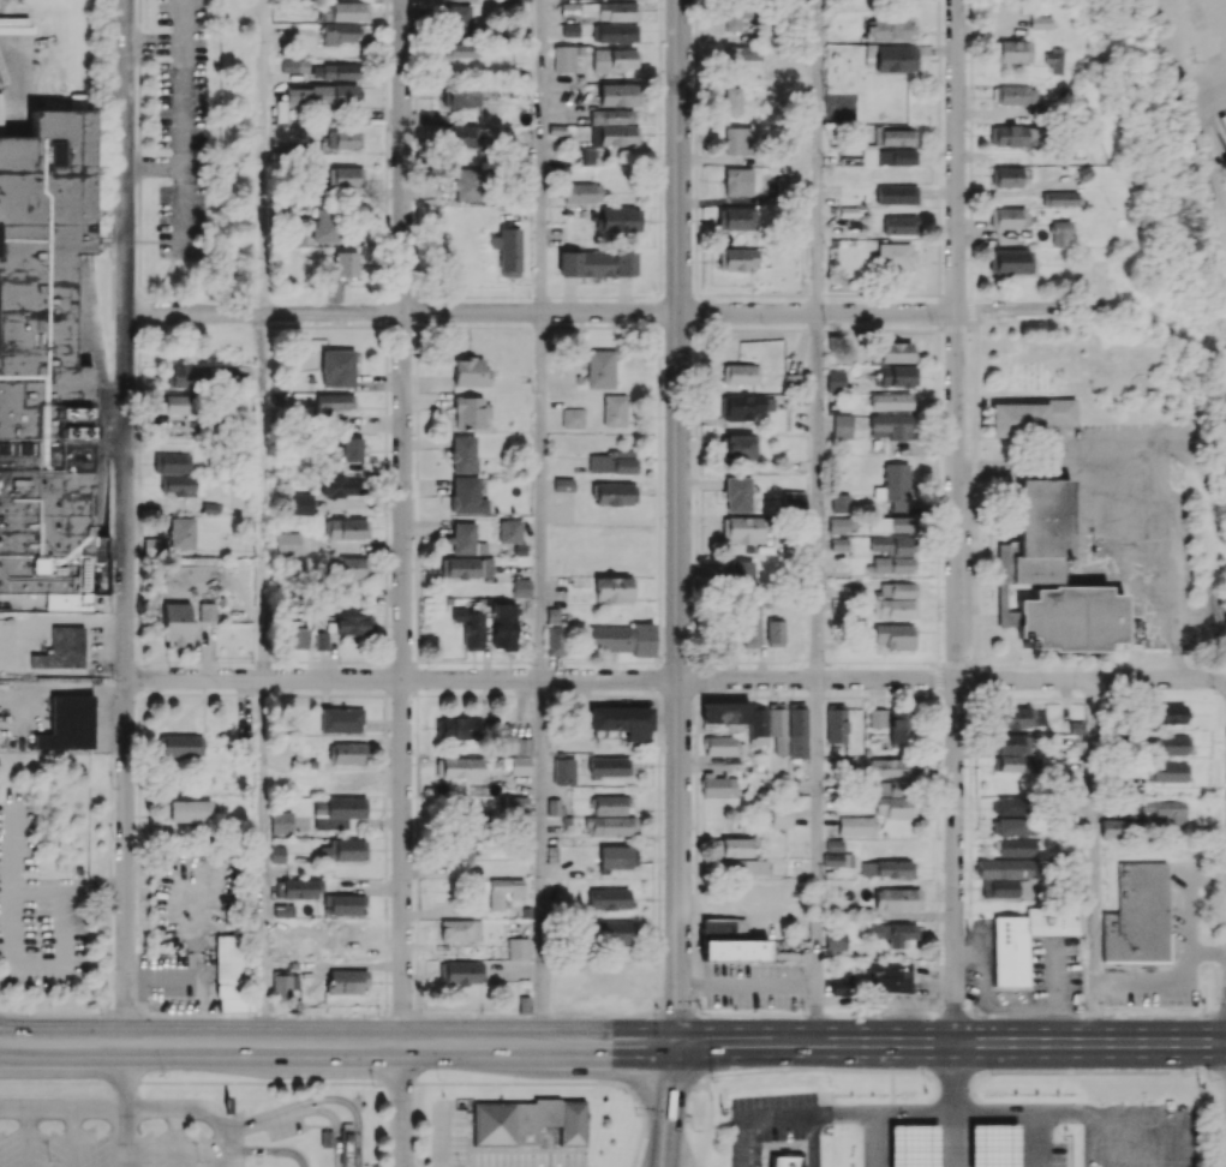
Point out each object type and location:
building: (519, 0)
building: (569, 8)
building: (616, 10)
building: (343, 11)
building: (735, 16)
building: (459, 19)
building: (1040, 22)
building: (886, 29)
building: (570, 30)
building: (341, 32)
building: (616, 32)
building: (464, 49)
building: (1015, 50)
building: (740, 56)
building: (895, 58)
building: (563, 59)
building: (1053, 59)
building: (614, 60)
building: (293, 65)
building: (335, 71)
building: (616, 94)
building: (322, 95)
building: (1015, 95)
building: (461, 96)
building: (731, 100)
building: (437, 116)
building: (615, 126)
building: (1011, 136)
building: (462, 137)
building: (895, 137)
building: (343, 138)
building: (737, 140)
road: (262, 155)
building: (588, 155)
road: (542, 156)
building: (887, 156)
building: (558, 169)
building: (346, 175)
building: (1009, 176)
building: (738, 181)
building: (470, 182)
building: (788, 184)
building: (582, 192)
building: (896, 193)
building: (1060, 198)
building: (736, 217)
building: (1010, 217)
building: (620, 219)
building: (324, 225)
building: (899, 225)
building: (1060, 233)
building: (508, 252)
building: (895, 255)
building: (737, 258)
building: (1010, 261)
building: (347, 263)
building: (596, 263)
road: (897, 311)
road: (402, 312)
road: (818, 340)
building: (896, 351)
building: (44, 357)
building: (339, 366)
building: (600, 369)
building: (470, 372)
building: (740, 373)
building: (180, 376)
building: (898, 376)
building: (836, 381)
building: (890, 401)
building: (333, 402)
building: (175, 405)
building: (744, 406)
building: (470, 411)
building: (615, 411)
building: (1030, 417)
building: (573, 418)
building: (842, 425)
building: (891, 426)
building: (741, 447)
building: (352, 448)
building: (464, 453)
building: (612, 461)
building: (172, 462)
building: (563, 484)
building: (178, 485)
building: (896, 485)
building: (341, 486)
building: (614, 492)
building: (737, 493)
road: (262, 495)
building: (467, 496)
road: (542, 496)
building: (794, 501)
building: (841, 502)
building: (300, 503)
road: (125, 521)
road: (402, 522)
road: (678, 522)
road: (959, 522)
building: (890, 523)
building: (838, 525)
building: (346, 528)
building: (743, 529)
building: (509, 531)
building: (181, 533)
building: (465, 539)
building: (287, 543)
building: (838, 544)
building: (151, 545)
building: (892, 553)
building: (352, 567)
building: (468, 567)
building: (741, 573)
building: (1051, 577)
building: (521, 587)
building: (898, 588)
building: (614, 590)
building: (895, 609)
building: (207, 611)
building: (552, 615)
building: (175, 623)
building: (353, 624)
building: (503, 626)
building: (470, 627)
building: (749, 628)
building: (775, 633)
building: (893, 635)
building: (295, 638)
building: (621, 639)
building: (321, 640)
building: (555, 640)
building: (61, 648)
road: (401, 678)
road: (952, 680)
building: (725, 713)
building: (1167, 713)
building: (877, 717)
building: (1018, 717)
building: (340, 719)
building: (622, 720)
building: (67, 723)
building: (836, 723)
building: (769, 726)
building: (899, 726)
building: (459, 728)
building: (796, 732)
building: (1012, 742)
building: (181, 744)
building: (514, 744)
building: (1170, 744)
building: (722, 746)
building: (348, 753)
building: (1007, 764)
building: (520, 765)
building: (609, 766)
building: (891, 766)
building: (461, 767)
building: (563, 771)
building: (1168, 771)
building: (718, 786)
building: (892, 798)
building: (610, 804)
building: (513, 806)
building: (1010, 806)
building: (554, 807)
building: (187, 810)
building: (336, 812)
building: (1166, 812)
building: (779, 816)
building: (280, 821)
building: (610, 825)
building: (856, 825)
building: (1012, 826)
building: (1112, 827)
building: (735, 846)
building: (1017, 846)
building: (343, 849)
building: (465, 849)
building: (276, 854)
building: (836, 854)
building: (617, 857)
road: (263, 861)
road: (1095, 861)
road: (540, 862)
road: (818, 862)
building: (741, 866)
building: (887, 868)
building: (1009, 876)
building: (299, 887)
road: (67, 888)
building: (504, 891)
road: (1188, 894)
building: (609, 898)
building: (897, 898)
building: (342, 903)
building: (282, 910)
building: (1137, 914)
building: (346, 929)
building: (460, 929)
building: (615, 932)
building: (895, 932)
building: (1025, 939)
building: (729, 940)
building: (835, 940)
building: (518, 947)
building: (461, 971)
building: (231, 972)
building: (889, 975)
road: (1167, 976)
building: (346, 981)
building: (283, 983)
building: (842, 983)
road: (747, 985)
road: (337, 1045)
traffic signals: (676, 1046)
road: (951, 1046)
road: (674, 1084)
road: (125, 1106)
road: (401, 1106)
road: (62, 1107)
road: (1063, 1108)
road: (859, 1109)
road: (269, 1114)
building: (527, 1121)
road: (1034, 1137)
road: (813, 1139)
road: (221, 1143)
road: (669, 1145)
building: (913, 1145)
building: (993, 1145)
building: (346, 1147)
building: (785, 1161)

